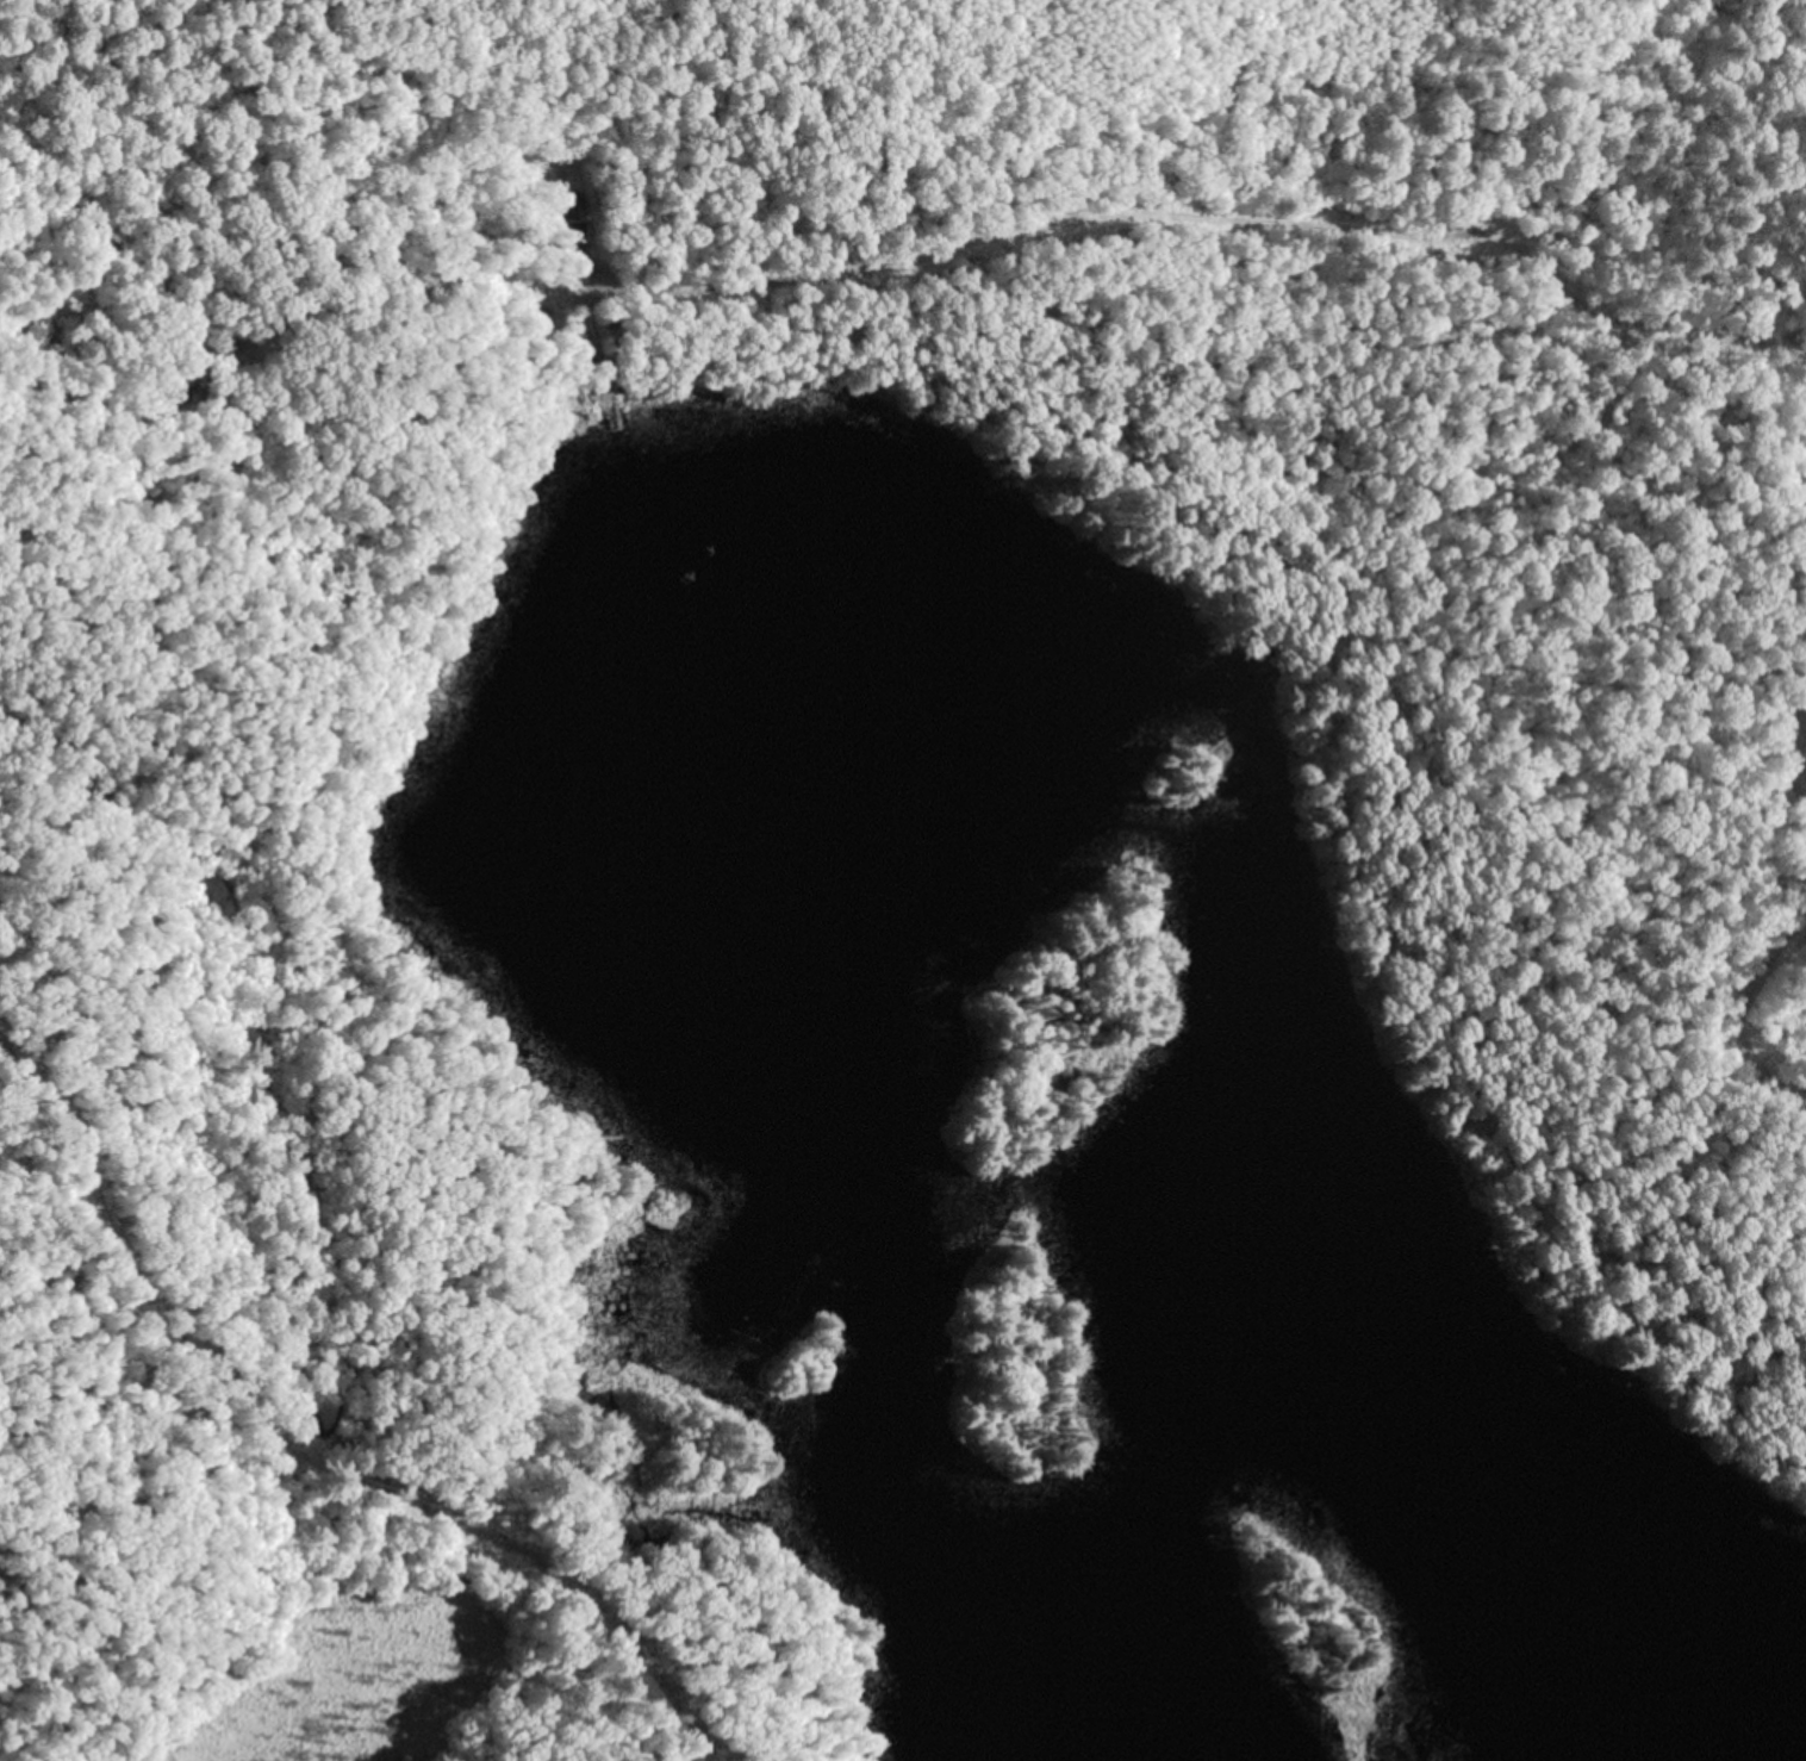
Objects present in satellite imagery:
building: (574, 206)
building: (538, 311)
road: (193, 411)

